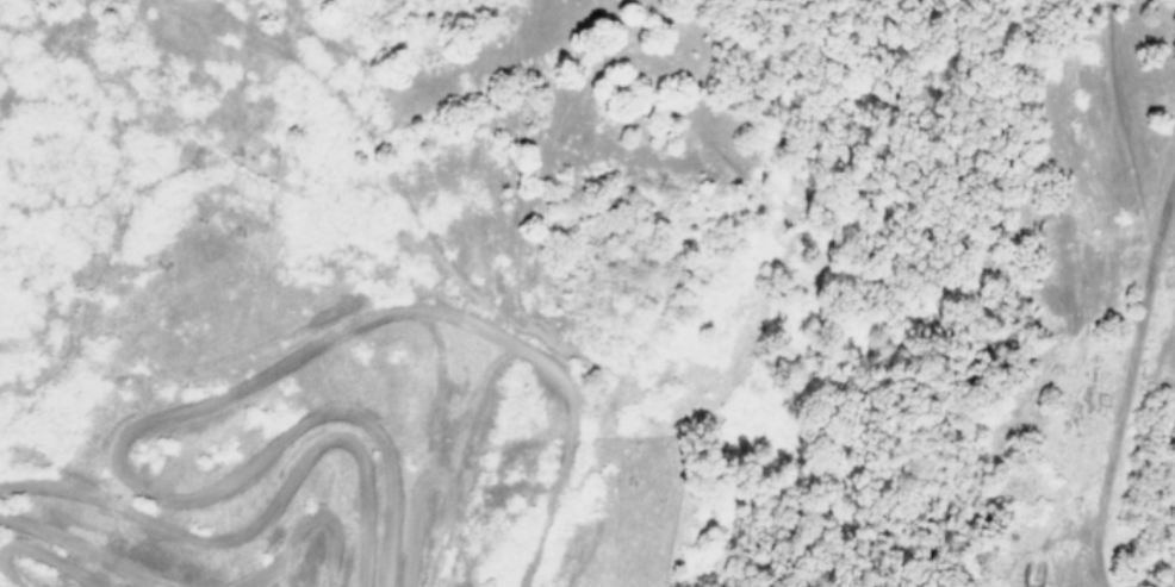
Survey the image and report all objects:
crop: (324, 335)

